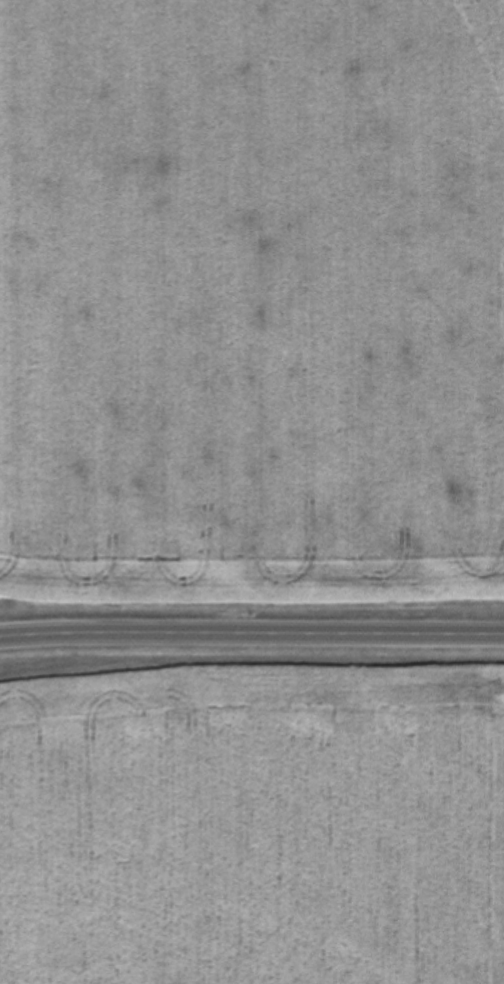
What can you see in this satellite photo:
road: (251, 633)

